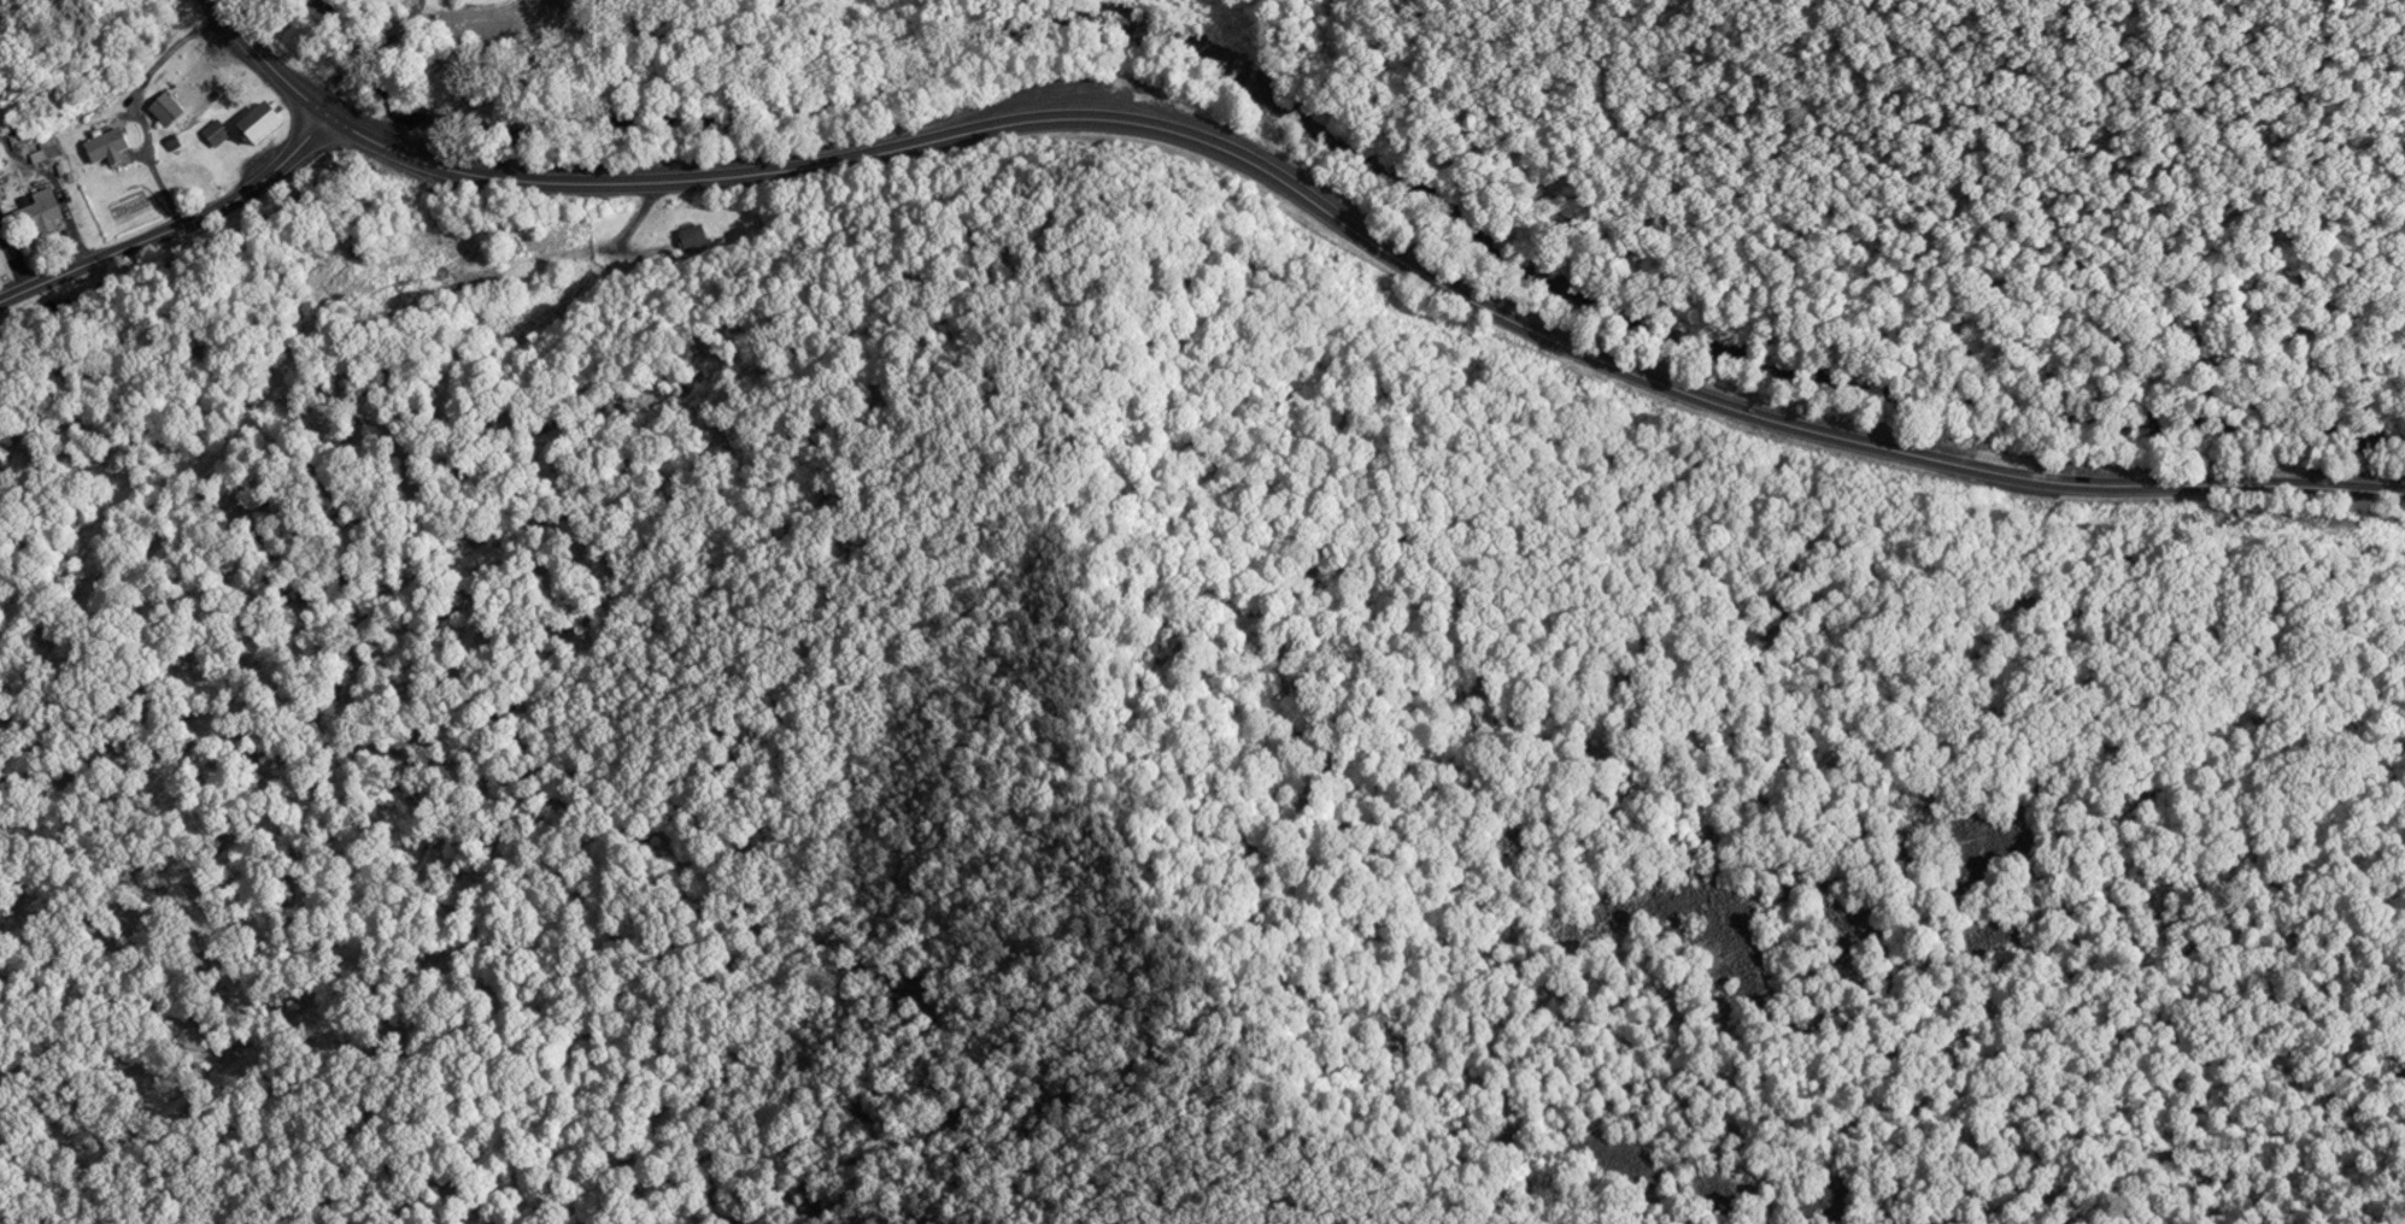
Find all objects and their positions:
road: (264, 60)
building: (166, 111)
building: (260, 124)
building: (216, 133)
building: (107, 148)
building: (39, 211)
road: (176, 226)
road: (1365, 236)

